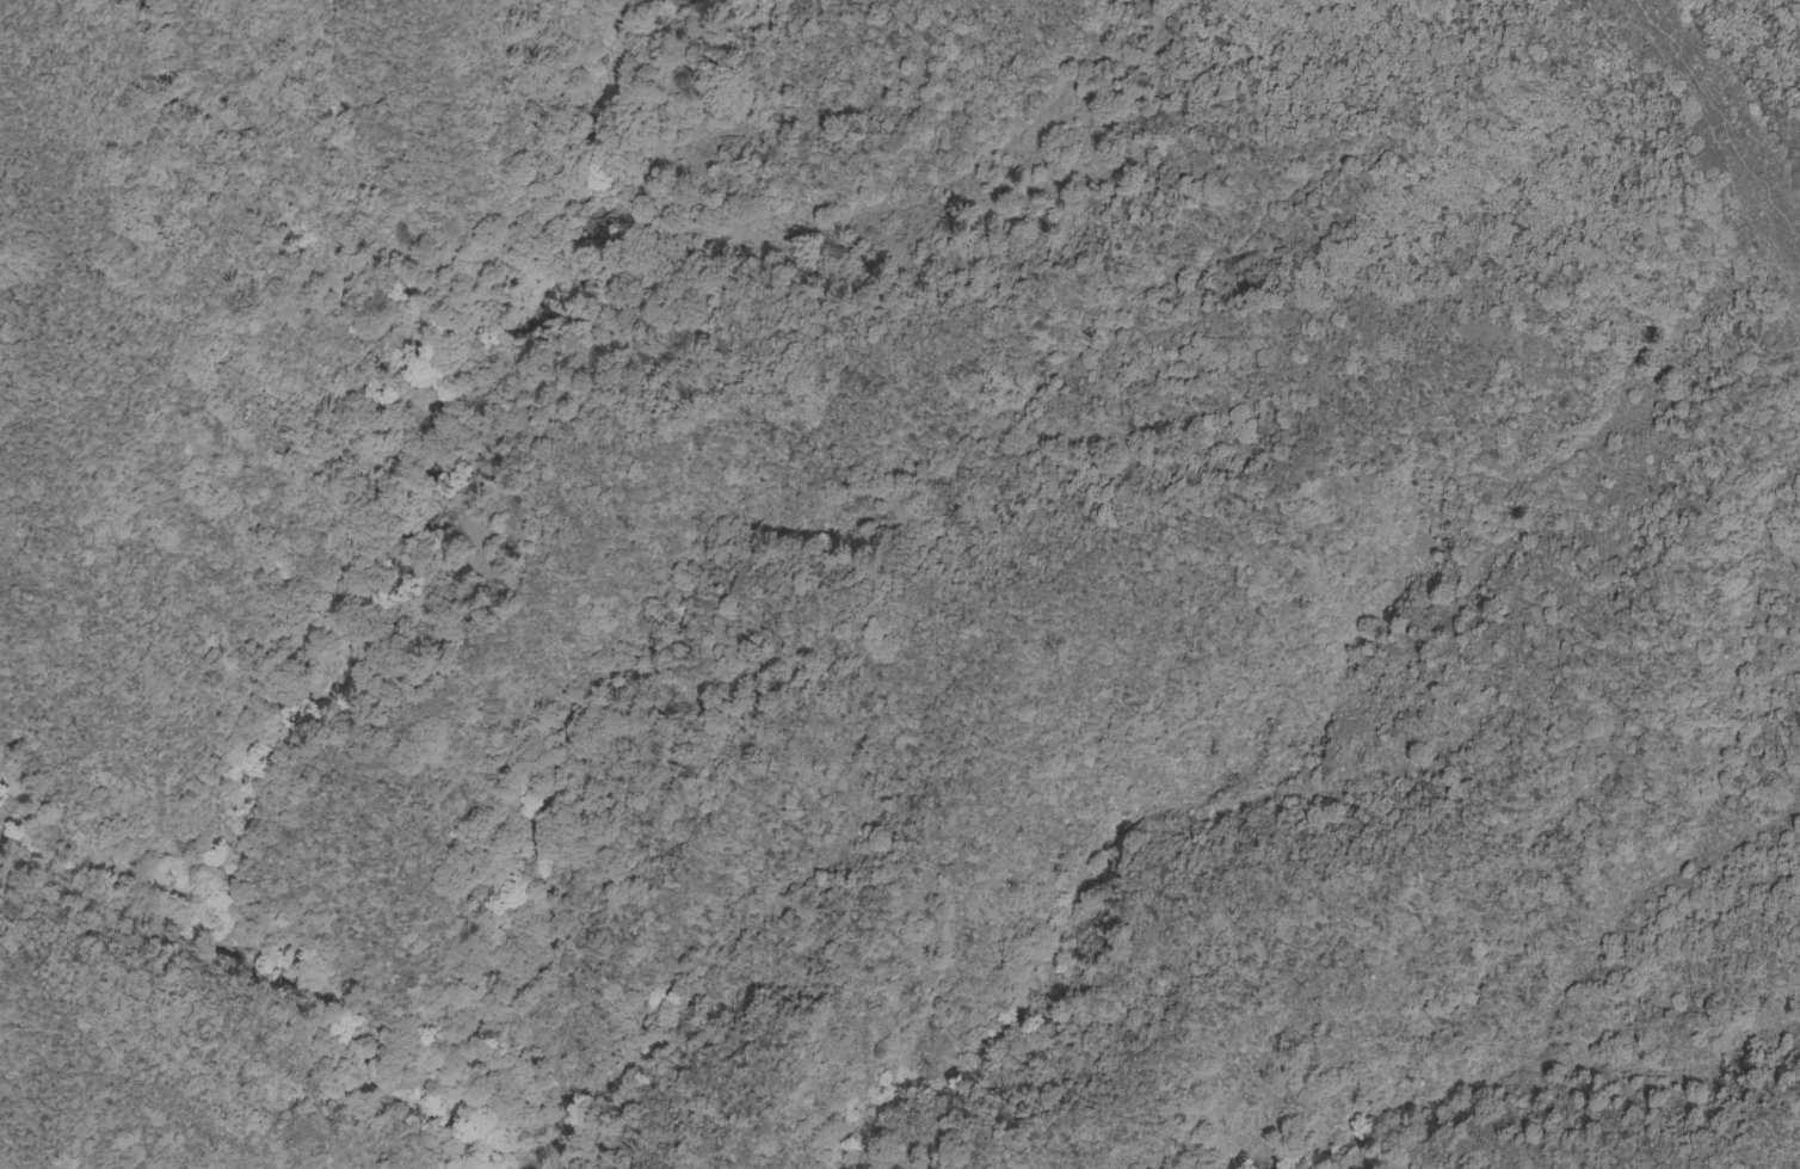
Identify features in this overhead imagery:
road: (1725, 128)

